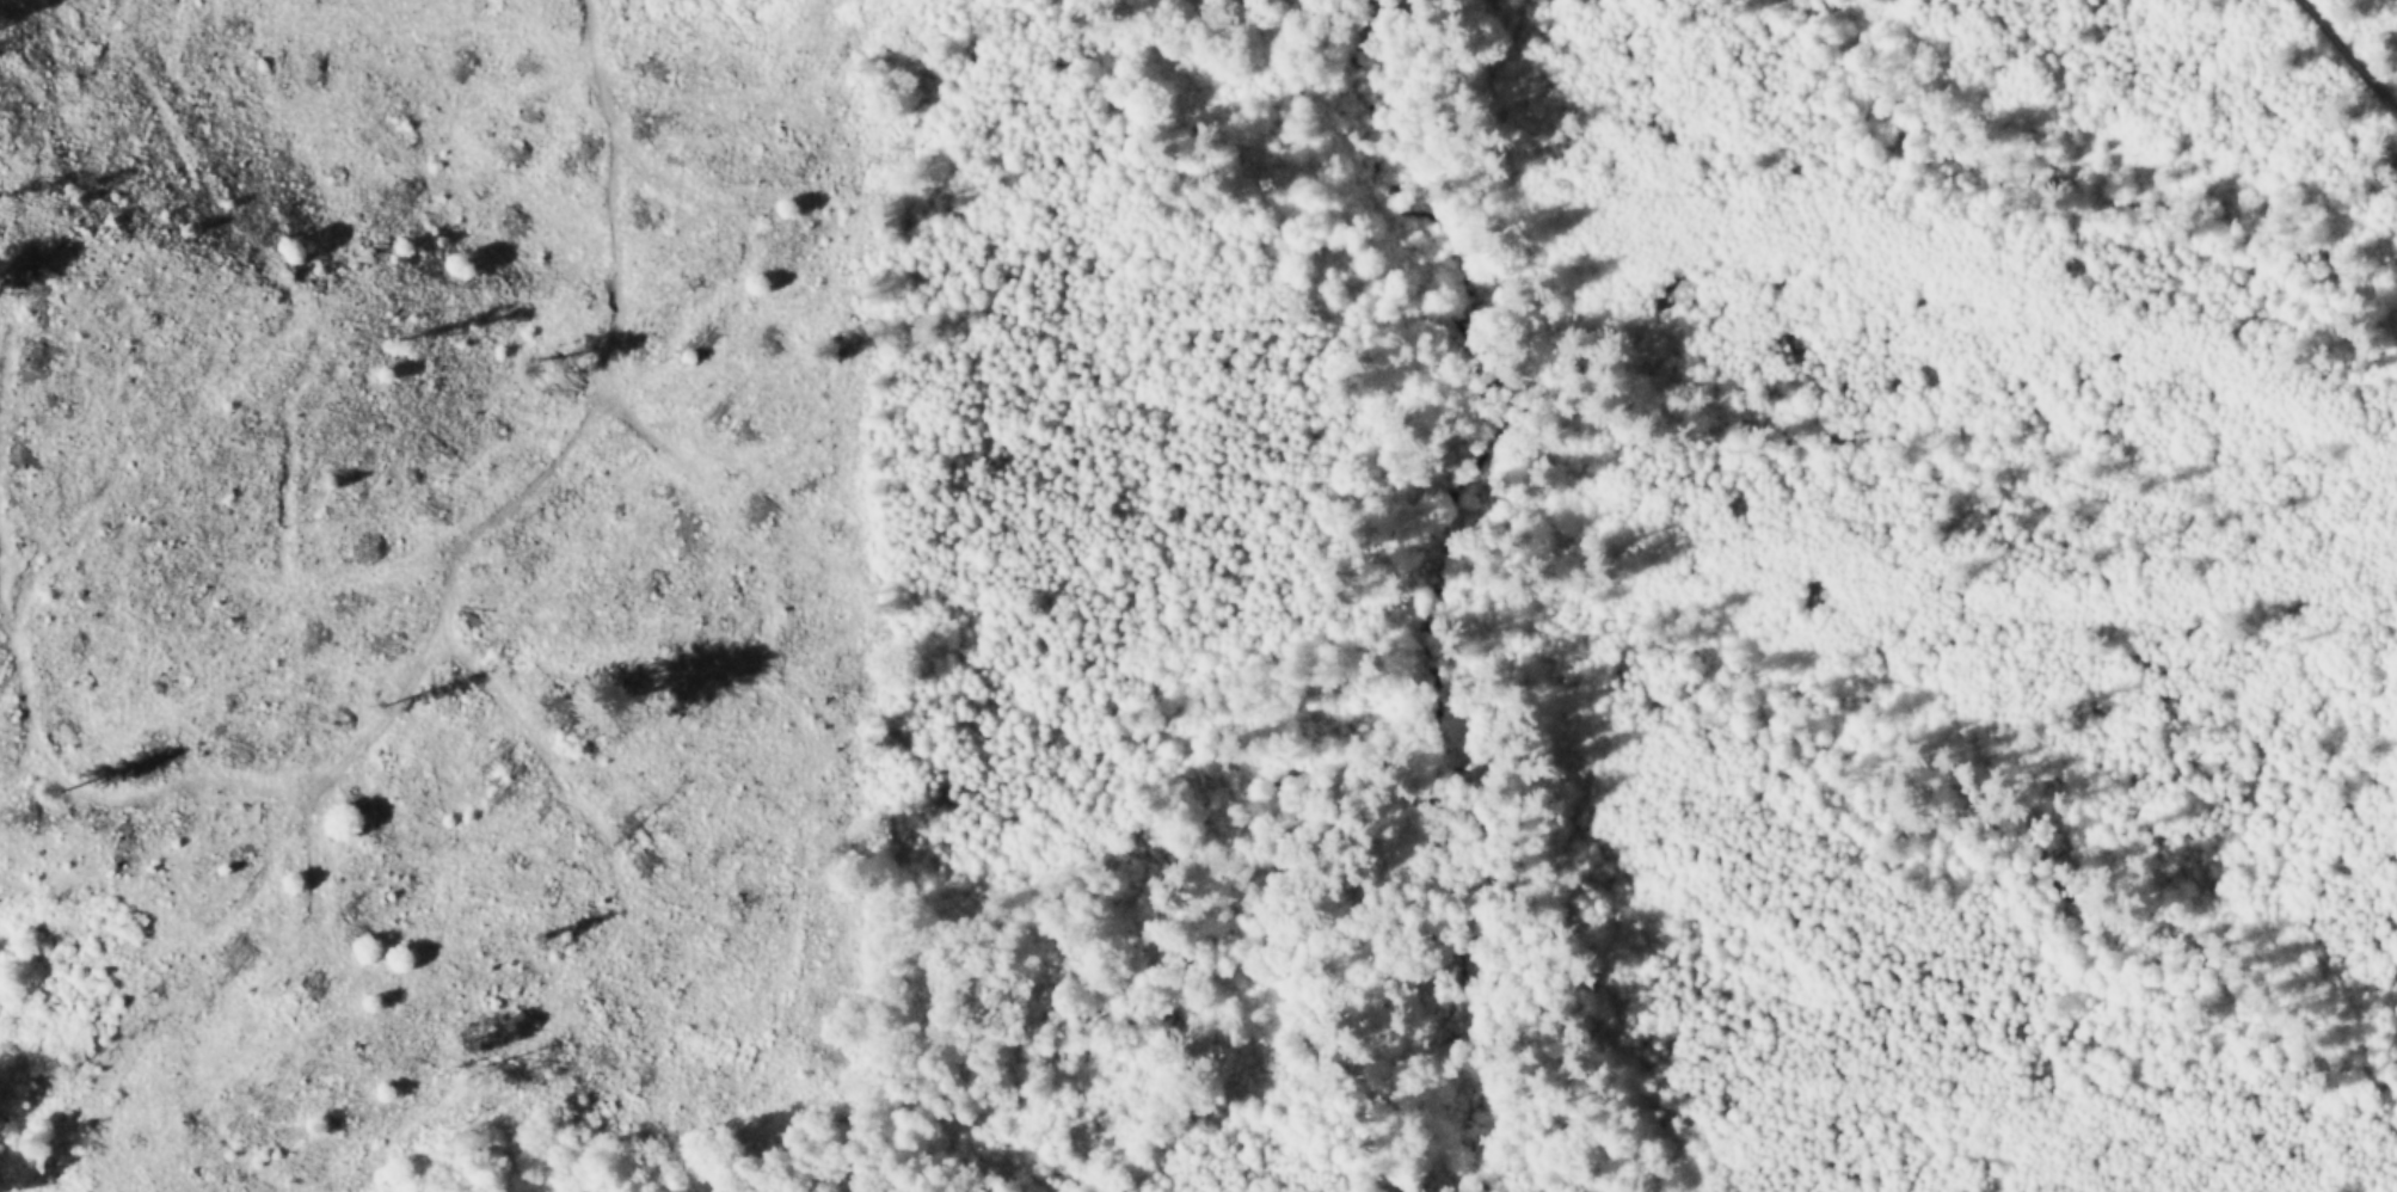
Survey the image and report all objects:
road: (2348, 53)

